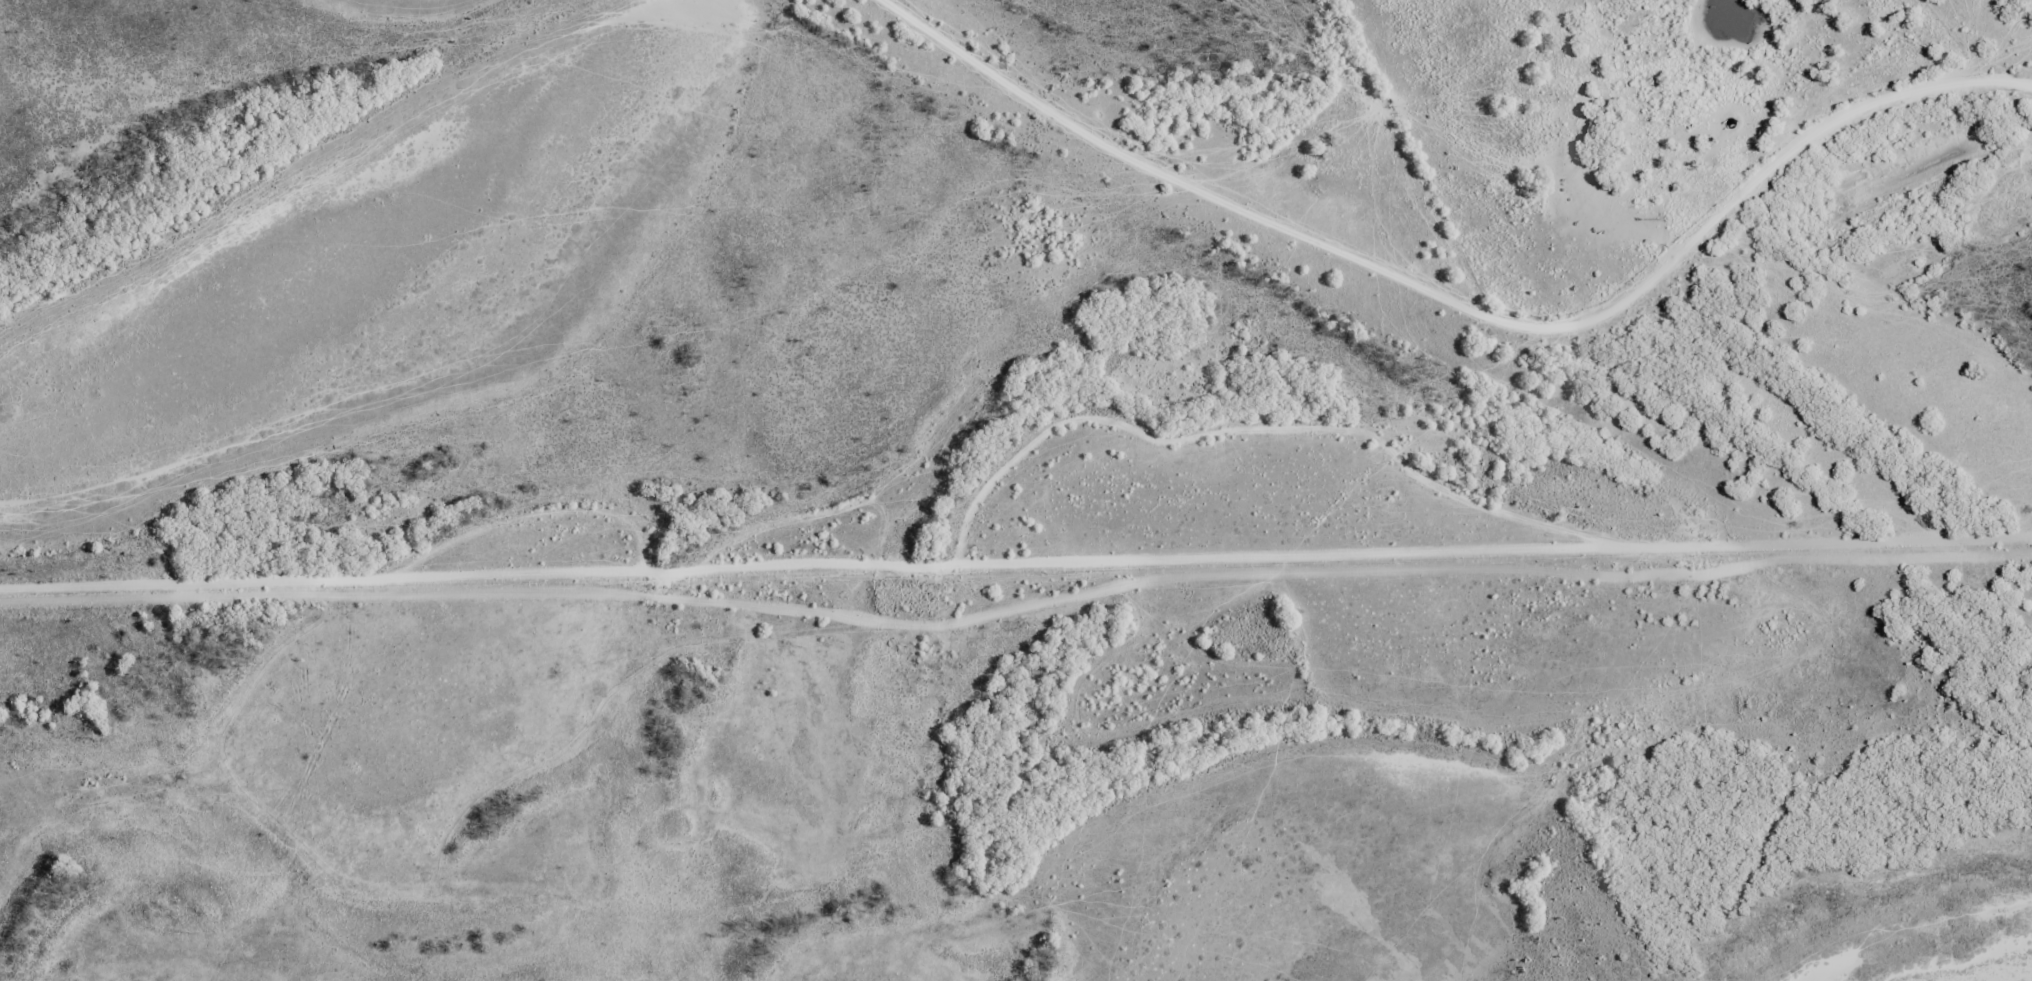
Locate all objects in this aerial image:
road: (1479, 298)

